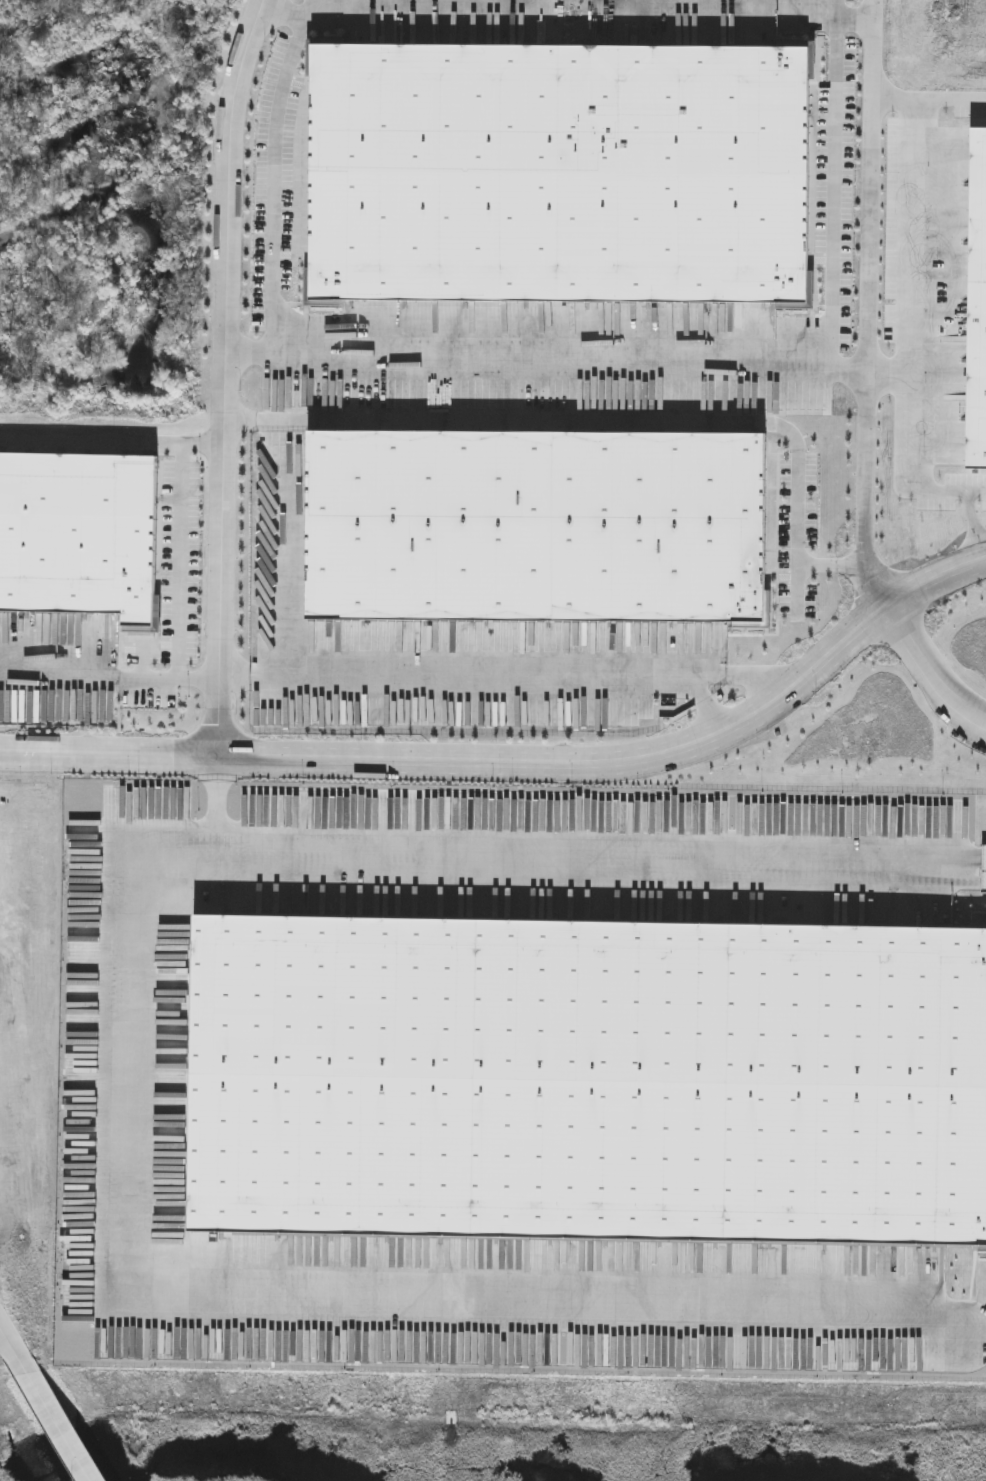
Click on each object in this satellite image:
road: (283, 13)
road: (855, 18)
road: (929, 98)
building: (560, 170)
road: (275, 173)
road: (835, 181)
road: (868, 306)
building: (975, 307)
road: (905, 331)
road: (548, 355)
road: (886, 374)
road: (226, 376)
road: (603, 422)
road: (93, 445)
road: (973, 525)
building: (535, 526)
building: (78, 528)
road: (185, 544)
road: (832, 565)
road: (932, 667)
road: (506, 675)
road: (111, 680)
road: (706, 703)
road: (522, 762)
road: (220, 807)
road: (984, 868)
building: (983, 870)
road: (133, 1080)
building: (588, 1083)
road: (1, 1328)
road: (8, 1337)
road: (56, 1416)

